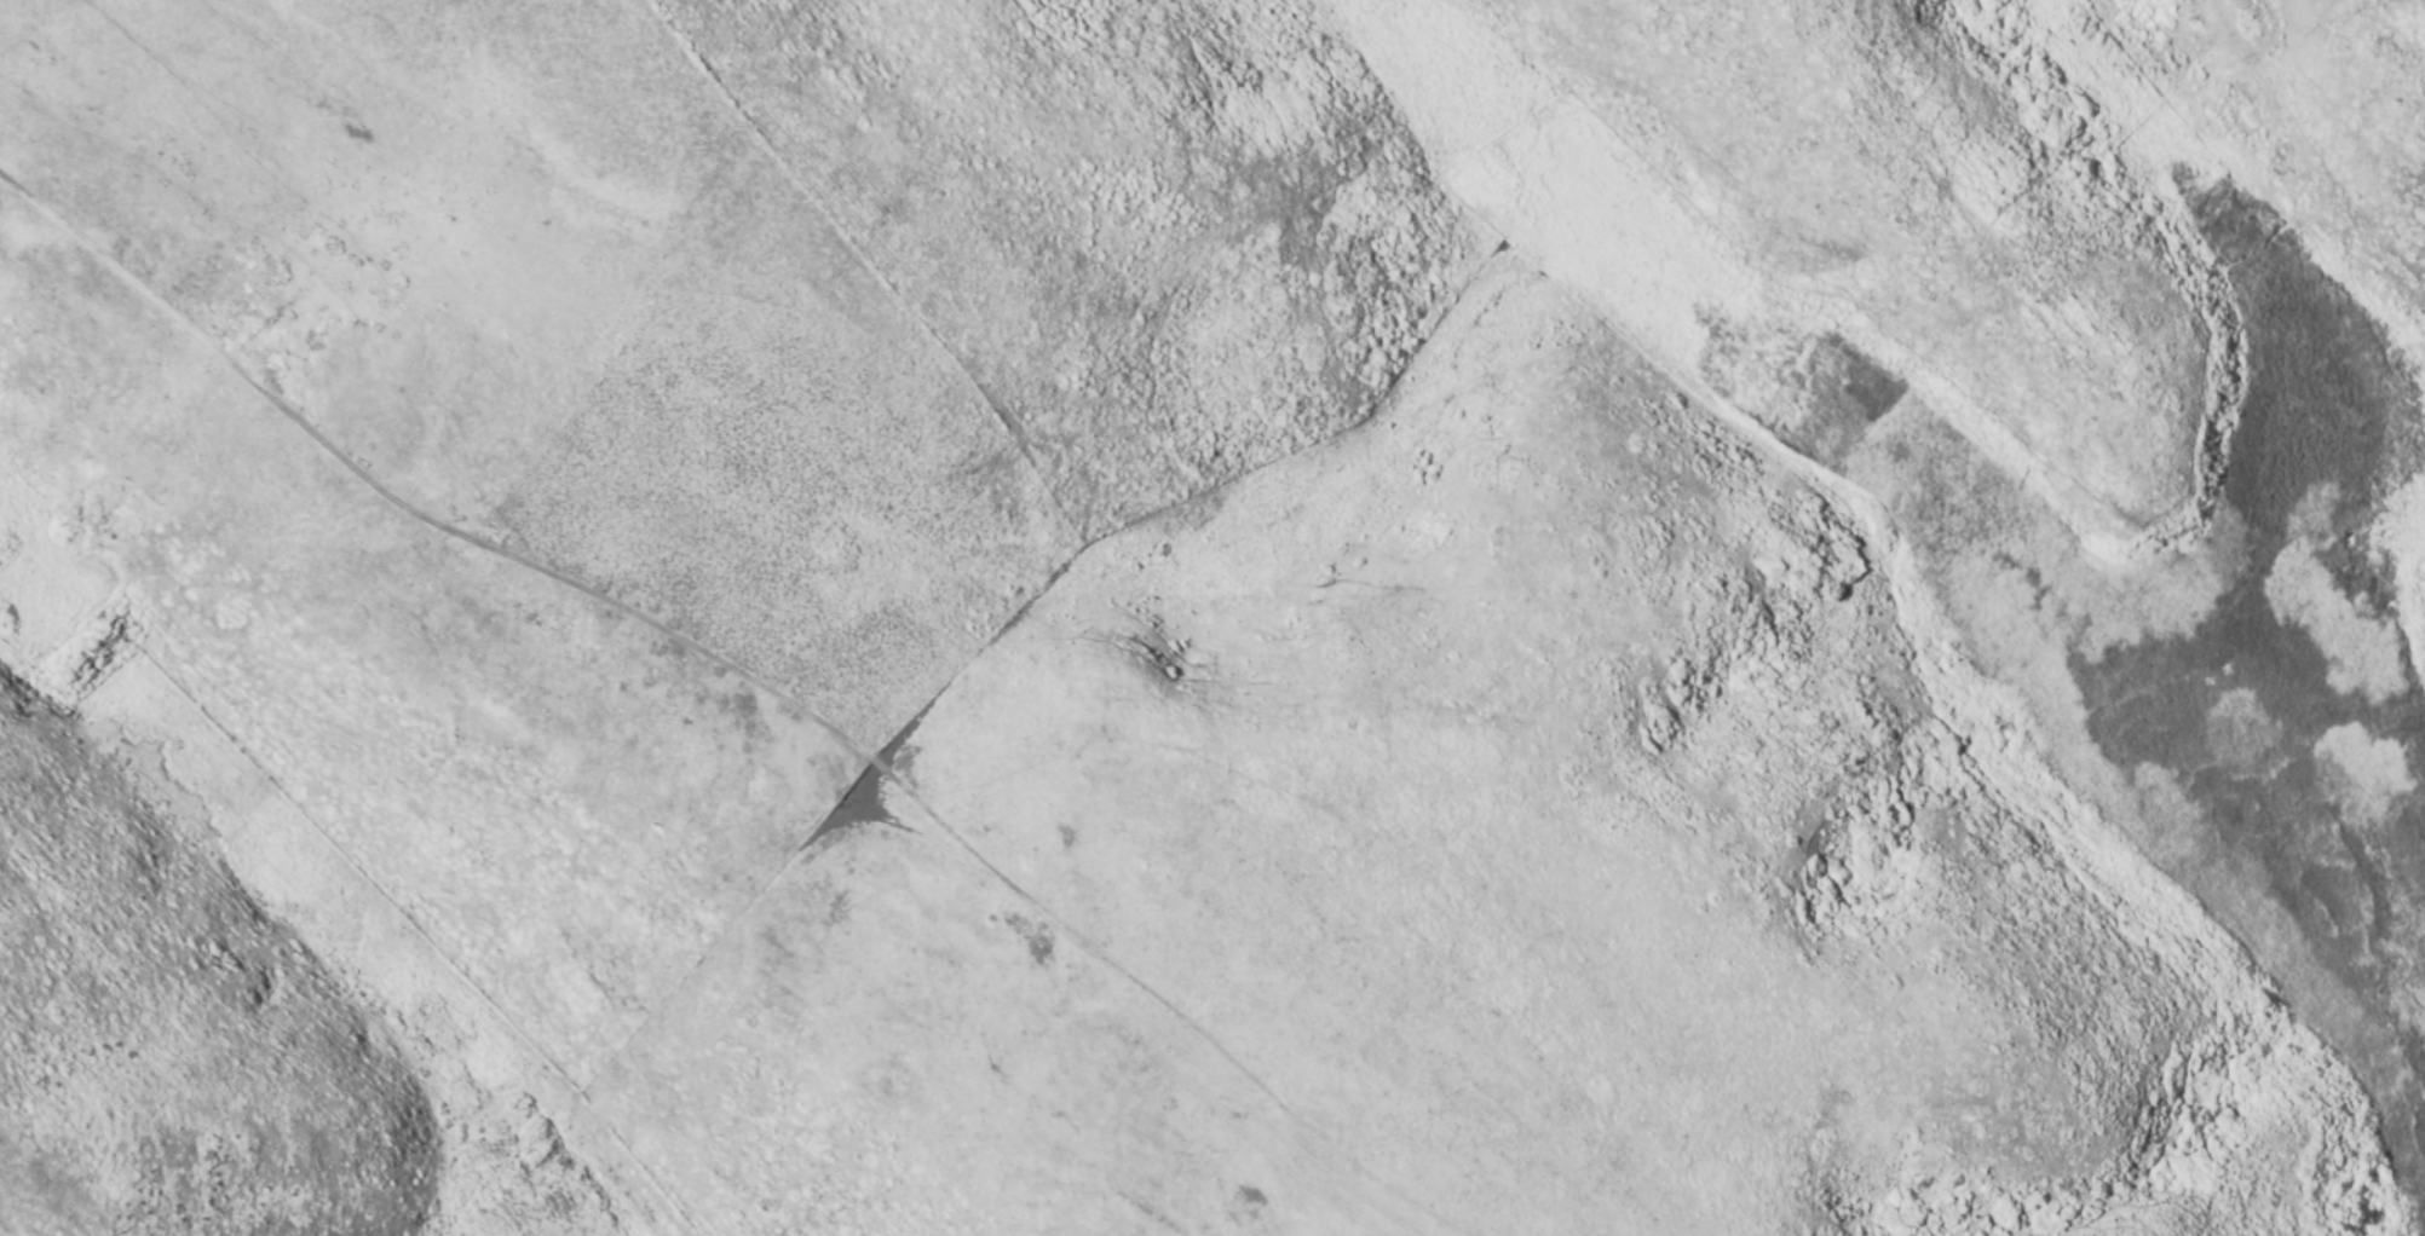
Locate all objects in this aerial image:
road: (753, 687)

